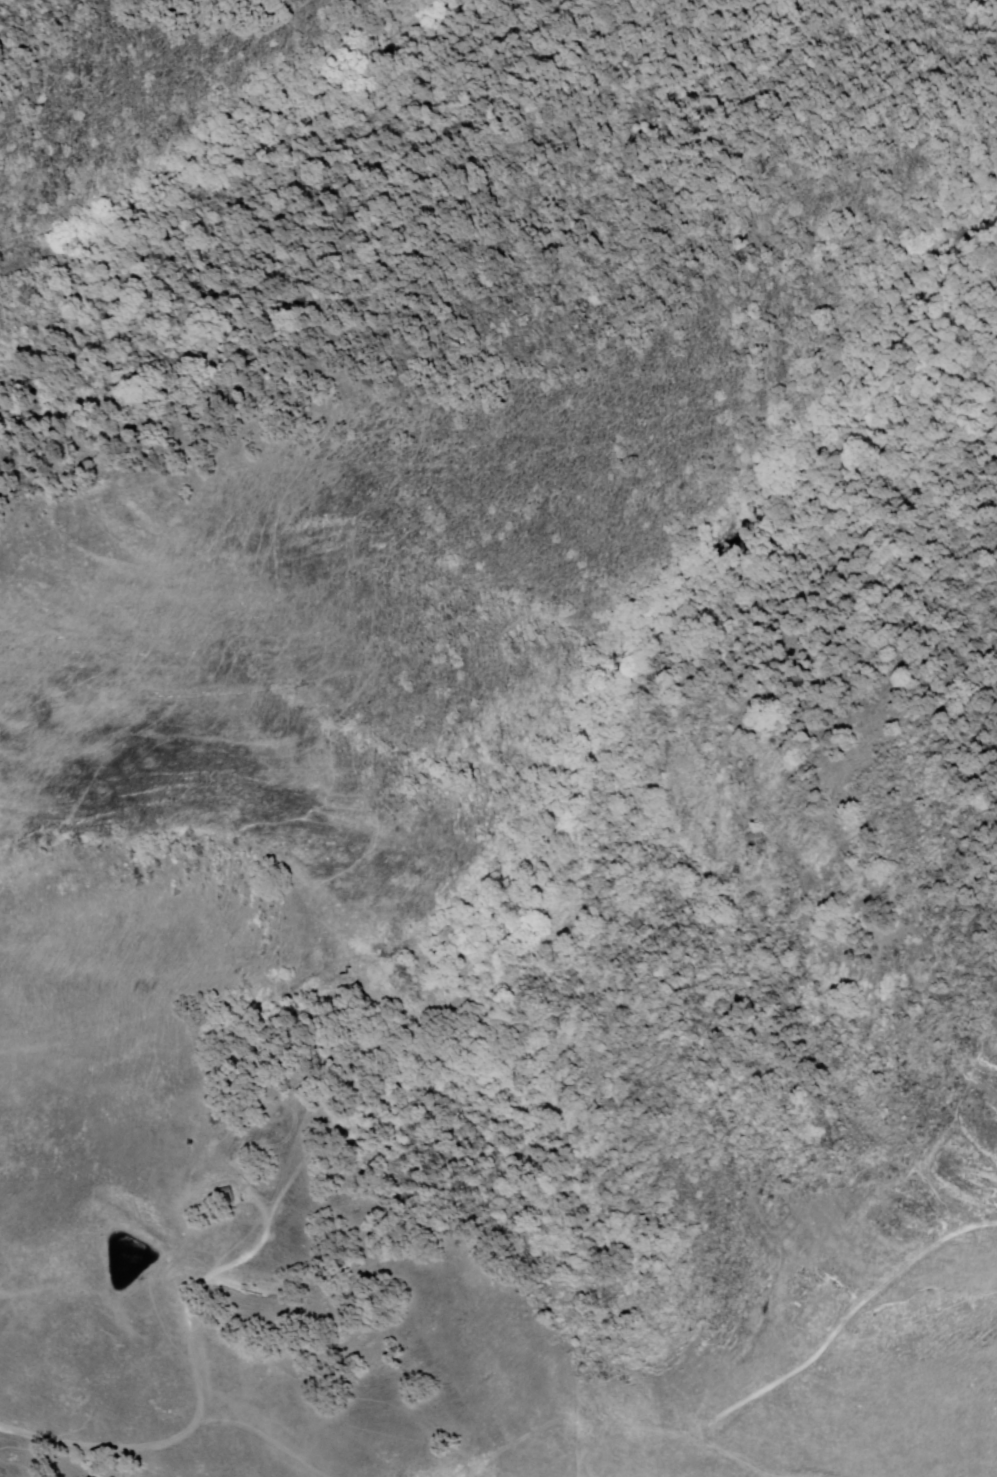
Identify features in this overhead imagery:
road: (743, 1401)
road: (170, 1442)
road: (737, 1462)

